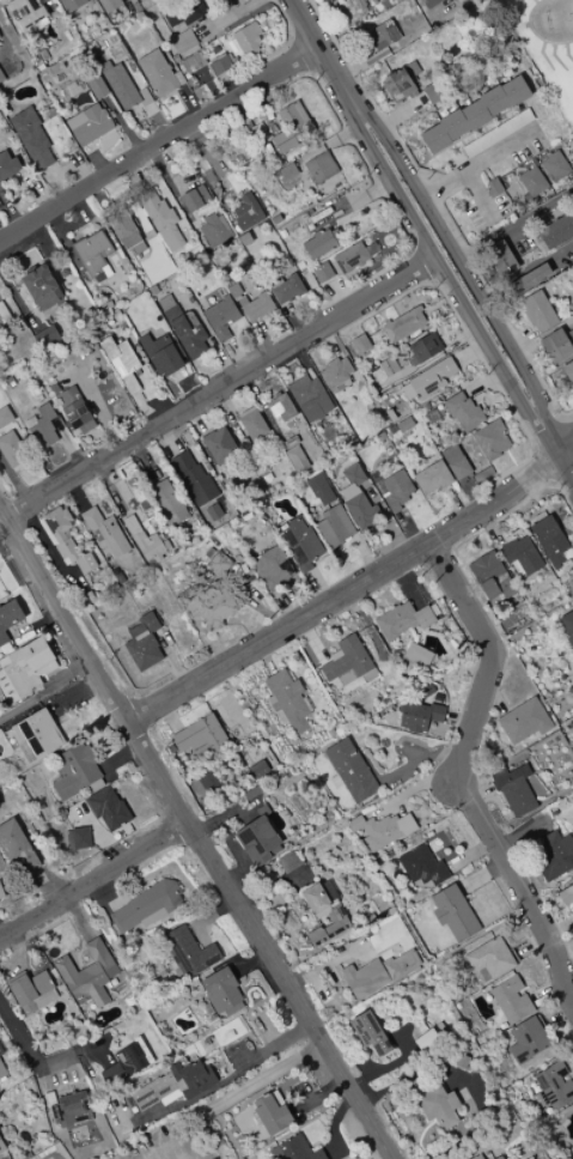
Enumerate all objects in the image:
building: (330, 0)
road: (130, 1)
building: (426, 1)
road: (534, 1)
building: (359, 2)
road: (44, 4)
building: (384, 4)
building: (71, 5)
building: (109, 5)
building: (26, 12)
building: (184, 12)
road: (226, 18)
building: (383, 34)
road: (534, 34)
building: (245, 38)
building: (182, 41)
park: (545, 45)
road: (377, 53)
road: (565, 53)
road: (319, 54)
road: (542, 55)
road: (554, 57)
building: (193, 62)
building: (218, 66)
road: (261, 66)
building: (181, 68)
building: (157, 73)
building: (1, 78)
building: (91, 78)
building: (191, 84)
road: (230, 84)
building: (118, 85)
building: (398, 85)
building: (97, 87)
building: (72, 89)
building: (435, 92)
road: (213, 93)
building: (142, 97)
road: (188, 103)
road: (400, 111)
building: (475, 114)
road: (502, 116)
road: (358, 121)
road: (156, 122)
building: (87, 123)
road: (121, 125)
road: (493, 126)
building: (291, 127)
road: (483, 128)
building: (498, 132)
road: (468, 133)
building: (31, 136)
road: (157, 140)
road: (514, 152)
road: (476, 162)
building: (7, 165)
building: (556, 166)
building: (319, 168)
building: (286, 171)
building: (532, 182)
road: (53, 184)
building: (0, 187)
building: (494, 187)
road: (421, 192)
road: (478, 196)
building: (194, 199)
road: (419, 199)
road: (8, 211)
building: (245, 211)
building: (159, 219)
road: (513, 223)
building: (122, 229)
building: (214, 229)
building: (557, 230)
road: (422, 236)
building: (317, 244)
building: (501, 257)
building: (342, 261)
road: (525, 272)
building: (531, 278)
building: (284, 287)
building: (36, 296)
building: (165, 305)
building: (255, 307)
building: (538, 311)
building: (2, 316)
building: (219, 317)
building: (402, 326)
building: (188, 335)
building: (45, 336)
road: (518, 338)
building: (359, 344)
building: (556, 345)
building: (422, 348)
road: (524, 350)
building: (159, 354)
building: (121, 363)
building: (568, 370)
road: (522, 372)
building: (334, 374)
building: (427, 380)
road: (219, 389)
road: (518, 396)
building: (309, 399)
building: (281, 407)
building: (73, 411)
building: (462, 412)
building: (4, 417)
road: (554, 417)
building: (251, 424)
building: (41, 426)
building: (490, 439)
road: (563, 442)
building: (218, 444)
building: (11, 450)
building: (295, 459)
building: (453, 461)
road: (563, 465)
building: (191, 478)
building: (431, 478)
building: (318, 490)
building: (394, 490)
building: (167, 502)
building: (358, 512)
building: (334, 526)
building: (104, 532)
building: (63, 540)
building: (144, 540)
building: (548, 540)
building: (299, 544)
building: (519, 557)
building: (217, 563)
building: (272, 568)
building: (489, 576)
road: (345, 589)
building: (206, 602)
building: (8, 618)
building: (400, 620)
building: (567, 626)
building: (142, 643)
building: (416, 655)
building: (347, 662)
building: (24, 669)
road: (47, 691)
building: (286, 700)
building: (420, 710)
building: (522, 721)
building: (35, 735)
building: (199, 735)
building: (348, 770)
building: (75, 772)
road: (463, 777)
building: (513, 790)
building: (106, 808)
building: (380, 830)
road: (199, 832)
building: (77, 838)
building: (257, 841)
building: (16, 849)
building: (554, 855)
building: (420, 866)
road: (95, 873)
building: (567, 900)
building: (145, 906)
building: (323, 912)
building: (452, 912)
building: (188, 952)
building: (489, 958)
building: (378, 973)
building: (86, 975)
building: (30, 991)
building: (220, 993)
building: (510, 1000)
building: (370, 1033)
building: (526, 1039)
building: (126, 1062)
road: (38, 1063)
building: (1, 1072)
road: (263, 1075)
building: (173, 1084)
building: (554, 1085)
building: (437, 1106)
building: (68, 1110)
building: (270, 1114)
building: (0, 1148)
building: (297, 1149)
building: (476, 1157)
building: (498, 1157)

